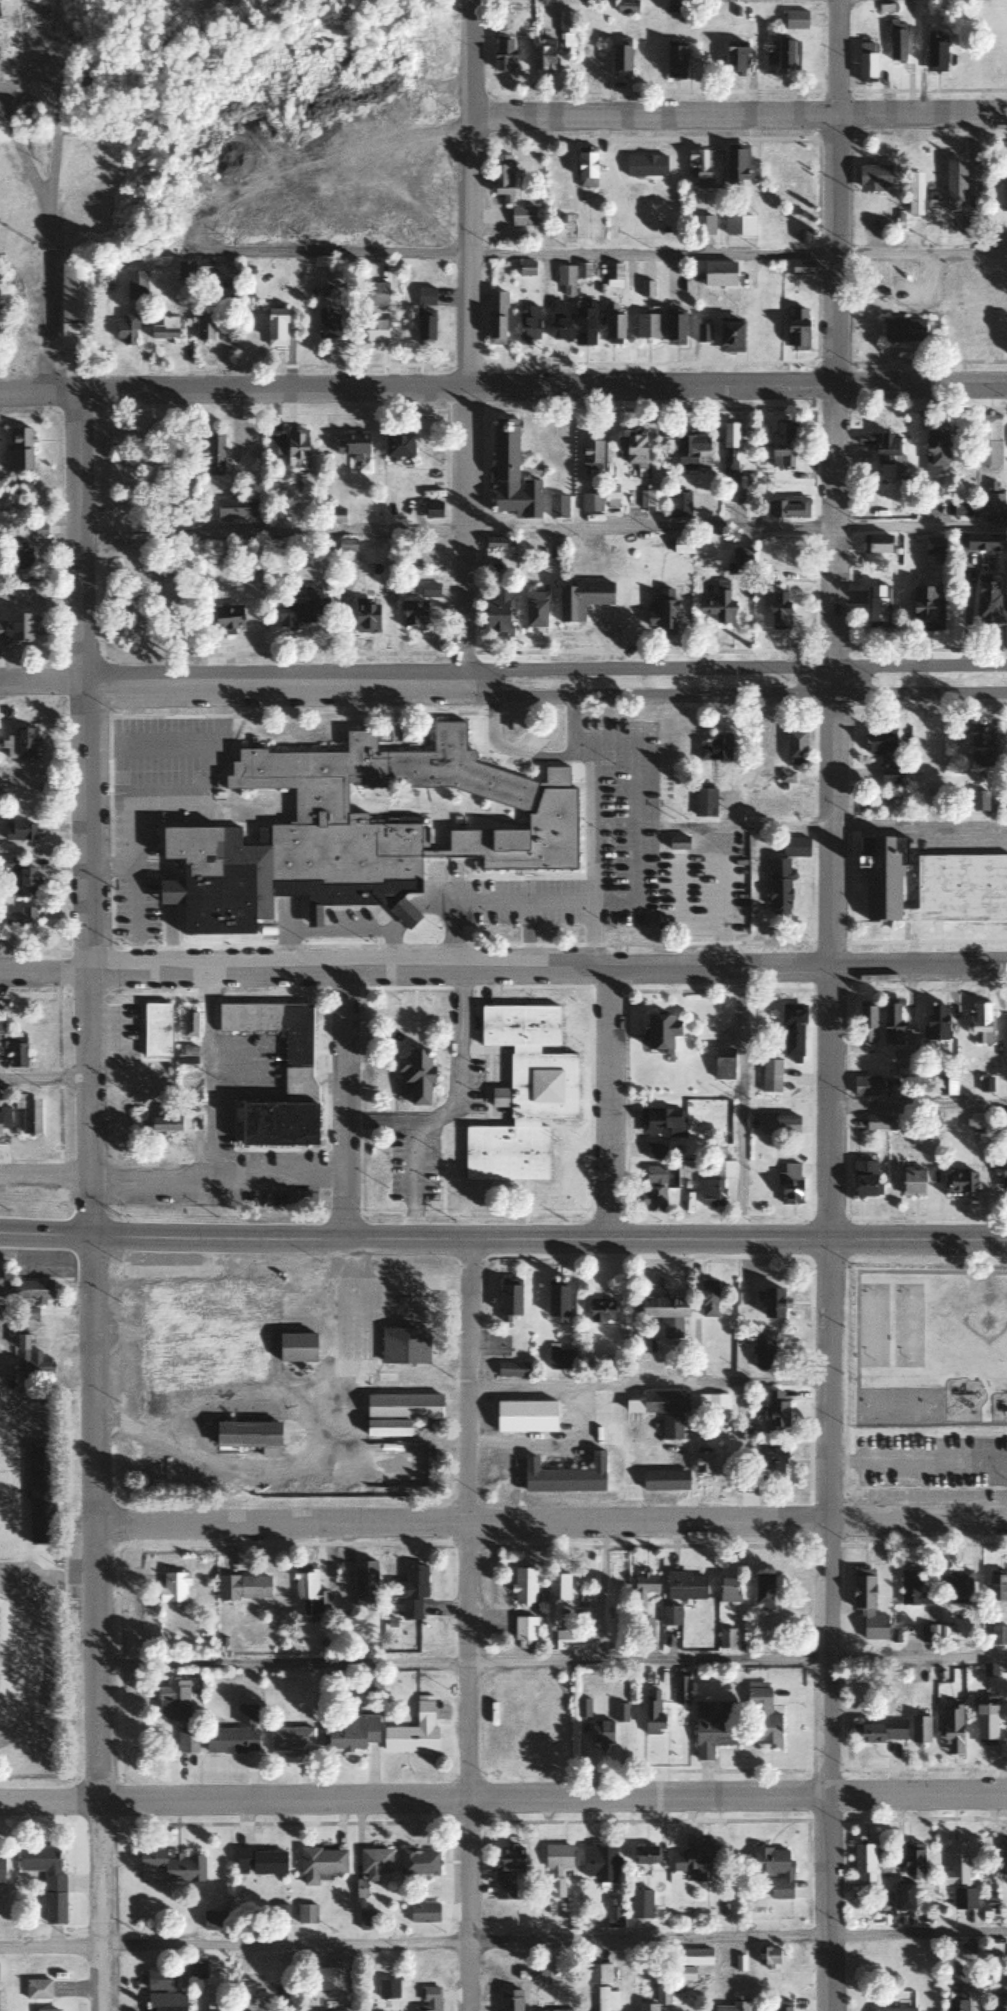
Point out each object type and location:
building: (625, 8)
building: (794, 21)
building: (566, 30)
building: (9, 31)
building: (896, 46)
building: (542, 51)
building: (934, 52)
building: (503, 54)
building: (620, 59)
building: (734, 59)
building: (674, 60)
building: (782, 60)
building: (866, 63)
building: (84, 89)
road: (738, 115)
building: (1, 127)
building: (735, 165)
building: (645, 167)
building: (699, 168)
building: (585, 171)
building: (501, 177)
building: (872, 179)
building: (954, 185)
building: (914, 194)
building: (1004, 195)
building: (521, 216)
building: (972, 220)
building: (739, 225)
building: (703, 226)
road: (58, 244)
road: (594, 253)
building: (201, 268)
building: (800, 268)
building: (526, 269)
building: (183, 271)
building: (717, 274)
building: (613, 276)
building: (565, 281)
building: (135, 285)
building: (369, 290)
building: (72, 306)
building: (424, 315)
building: (495, 318)
building: (559, 321)
building: (327, 325)
building: (527, 326)
building: (204, 327)
building: (274, 327)
building: (583, 327)
building: (647, 327)
building: (674, 328)
building: (164, 329)
building: (796, 329)
building: (125, 330)
building: (613, 330)
building: (902, 330)
building: (372, 332)
building: (702, 334)
building: (729, 338)
road: (467, 342)
road: (503, 387)
building: (988, 441)
building: (782, 443)
building: (353, 445)
building: (396, 447)
building: (288, 449)
building: (19, 450)
building: (728, 450)
building: (632, 451)
building: (691, 453)
building: (884, 453)
building: (213, 454)
building: (935, 454)
building: (590, 458)
building: (510, 475)
building: (21, 484)
building: (643, 502)
building: (590, 504)
building: (994, 504)
building: (557, 507)
building: (787, 508)
building: (233, 509)
building: (432, 510)
building: (962, 512)
road: (543, 528)
building: (36, 530)
building: (974, 543)
building: (494, 544)
building: (875, 545)
building: (933, 547)
building: (17, 557)
building: (739, 562)
building: (429, 591)
building: (581, 600)
building: (987, 600)
building: (718, 606)
building: (877, 606)
building: (534, 609)
building: (301, 610)
building: (926, 610)
building: (777, 612)
building: (413, 614)
building: (495, 614)
building: (660, 616)
building: (364, 618)
building: (227, 619)
building: (16, 630)
road: (734, 668)
road: (232, 686)
road: (735, 693)
building: (879, 739)
building: (20, 744)
building: (794, 748)
building: (715, 749)
building: (981, 749)
building: (889, 775)
building: (703, 801)
road: (798, 826)
building: (356, 828)
building: (20, 831)
building: (793, 847)
building: (880, 877)
building: (21, 880)
building: (778, 887)
building: (959, 889)
building: (19, 920)
road: (503, 967)
road: (833, 1005)
building: (979, 1020)
building: (0, 1021)
building: (936, 1024)
building: (891, 1025)
building: (189, 1026)
building: (865, 1026)
building: (154, 1032)
building: (659, 1034)
building: (792, 1036)
building: (187, 1056)
building: (722, 1065)
building: (297, 1066)
road: (46, 1077)
building: (770, 1077)
building: (413, 1079)
building: (985, 1086)
building: (865, 1088)
building: (522, 1094)
road: (609, 1102)
road: (350, 1104)
road: (919, 1107)
building: (28, 1117)
building: (3, 1121)
building: (666, 1122)
building: (875, 1124)
building: (163, 1125)
building: (276, 1126)
building: (1003, 1126)
building: (773, 1127)
building: (718, 1148)
building: (654, 1151)
building: (722, 1171)
building: (1003, 1174)
road: (46, 1176)
building: (654, 1176)
road: (221, 1177)
building: (864, 1180)
building: (911, 1184)
building: (960, 1184)
building: (789, 1185)
building: (710, 1194)
building: (653, 1201)
road: (93, 1202)
road: (503, 1238)
building: (31, 1292)
building: (707, 1298)
building: (508, 1301)
building: (555, 1301)
building: (770, 1302)
building: (599, 1310)
building: (664, 1313)
park: (869, 1322)
park: (903, 1322)
building: (210, 1325)
building: (297, 1346)
building: (403, 1346)
building: (762, 1352)
building: (27, 1361)
building: (510, 1369)
building: (152, 1396)
building: (661, 1401)
park: (897, 1403)
building: (403, 1406)
building: (712, 1406)
building: (775, 1411)
building: (524, 1417)
building: (386, 1426)
building: (671, 1428)
building: (244, 1433)
road: (918, 1461)
building: (771, 1462)
building: (702, 1463)
building: (564, 1476)
building: (664, 1481)
park: (0, 1488)
building: (38, 1494)
road: (551, 1523)
parking lot: (70, 1574)
building: (364, 1582)
building: (523, 1585)
building: (955, 1585)
building: (996, 1585)
building: (304, 1586)
building: (685, 1586)
building: (173, 1587)
building: (242, 1588)
building: (642, 1588)
building: (410, 1589)
building: (912, 1589)
building: (727, 1590)
building: (762, 1591)
building: (866, 1604)
building: (557, 1614)
building: (670, 1616)
road: (467, 1624)
building: (643, 1628)
building: (524, 1632)
building: (999, 1636)
building: (726, 1638)
road: (918, 1651)
track: (21, 1657)
building: (370, 1682)
building: (680, 1689)
building: (172, 1699)
building: (582, 1707)
building: (651, 1711)
building: (619, 1712)
building: (762, 1718)
building: (985, 1724)
building: (713, 1727)
building: (951, 1727)
building: (918, 1729)
building: (413, 1730)
building: (600, 1731)
building: (880, 1731)
building: (352, 1732)
building: (233, 1734)
building: (290, 1739)
building: (185, 1741)
road: (503, 1796)
building: (643, 1854)
building: (912, 1860)
building: (1003, 1860)
building: (259, 1861)
building: (418, 1861)
building: (600, 1861)
building: (864, 1861)
building: (694, 1862)
building: (319, 1863)
building: (1, 1864)
building: (956, 1864)
building: (172, 1865)
building: (556, 1865)
building: (42, 1866)
building: (372, 1866)
building: (773, 1868)
building: (505, 1870)
building: (903, 1896)
building: (963, 1898)
building: (639, 1903)
building: (989, 1905)
building: (305, 1913)
building: (423, 1916)
building: (613, 1916)
building: (367, 1919)
building: (214, 1920)
road: (503, 1942)
building: (691, 1956)
building: (767, 1956)
building: (195, 1969)
building: (547, 1971)
building: (597, 1973)
building: (682, 1973)
building: (958, 1978)
building: (387, 1988)
building: (37, 1989)
building: (162, 1991)
building: (606, 1998)
building: (428, 1999)
building: (656, 1999)
building: (510, 2000)
building: (956, 2001)
building: (1000, 2001)
building: (733, 2005)
building: (215, 2006)
building: (782, 2006)
building: (893, 2009)
building: (46, 2010)
building: (560, 2010)

